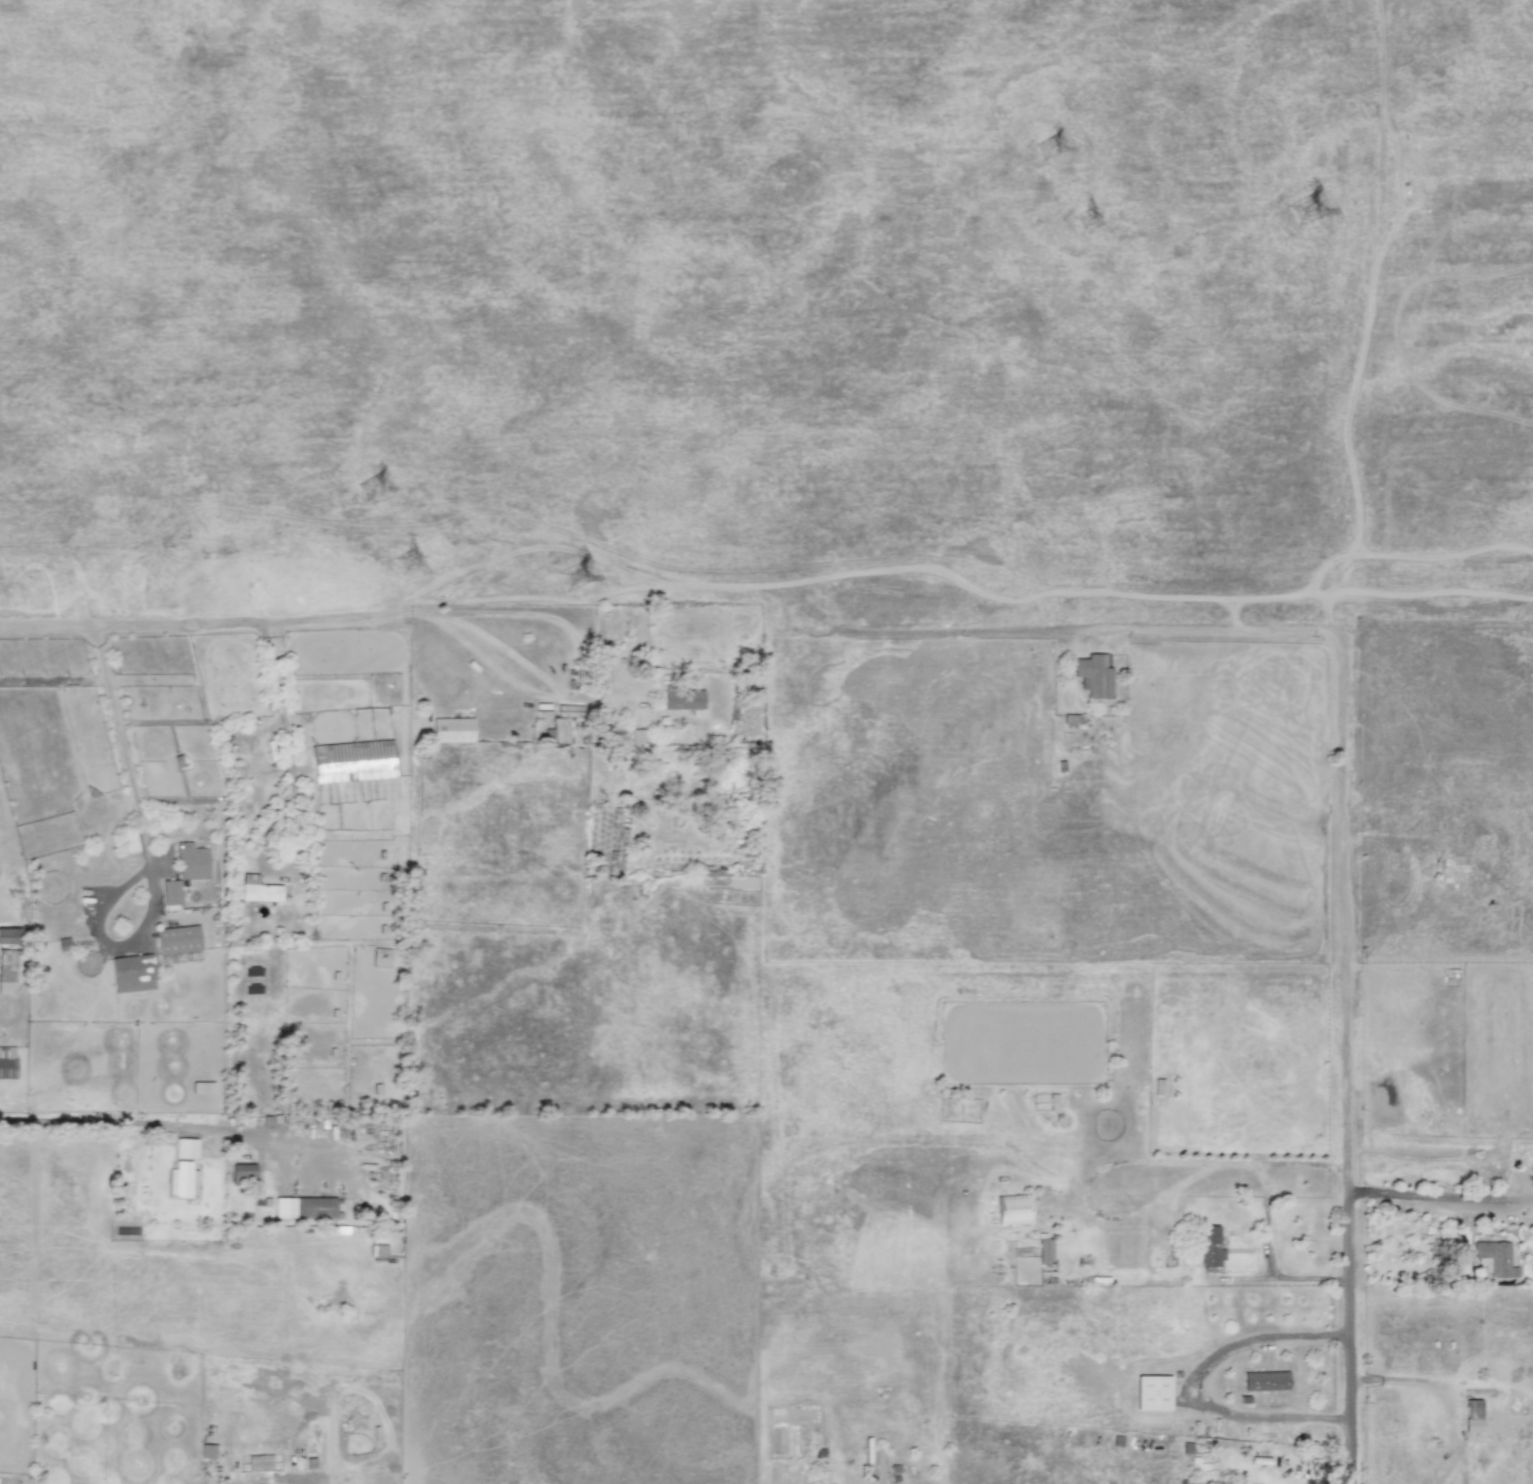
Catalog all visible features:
power tower: (1054, 150)
power tower: (1309, 215)
power tower: (1089, 224)
power tower: (375, 491)
power tower: (413, 564)
power tower: (581, 580)
road: (476, 613)
road: (204, 624)
road: (1219, 627)
building: (1093, 675)
building: (681, 697)
building: (452, 730)
building: (639, 736)
building: (353, 761)
road: (128, 773)
building: (621, 818)
building: (129, 840)
building: (191, 862)
building: (258, 890)
building: (171, 892)
building: (8, 936)
building: (178, 939)
building: (381, 957)
building: (7, 966)
building: (131, 974)
road: (1344, 1040)
building: (6, 1062)
building: (202, 1087)
road: (133, 1121)
building: (185, 1148)
road: (1300, 1165)
building: (242, 1171)
building: (182, 1180)
road: (1441, 1197)
building: (314, 1207)
building: (1012, 1209)
road: (1267, 1217)
building: (1210, 1247)
building: (1045, 1250)
building: (1494, 1258)
building: (1265, 1380)
road: (1192, 1383)
building: (1153, 1392)
building: (1473, 1416)
building: (207, 1451)
road: (1355, 1459)
building: (260, 1462)

